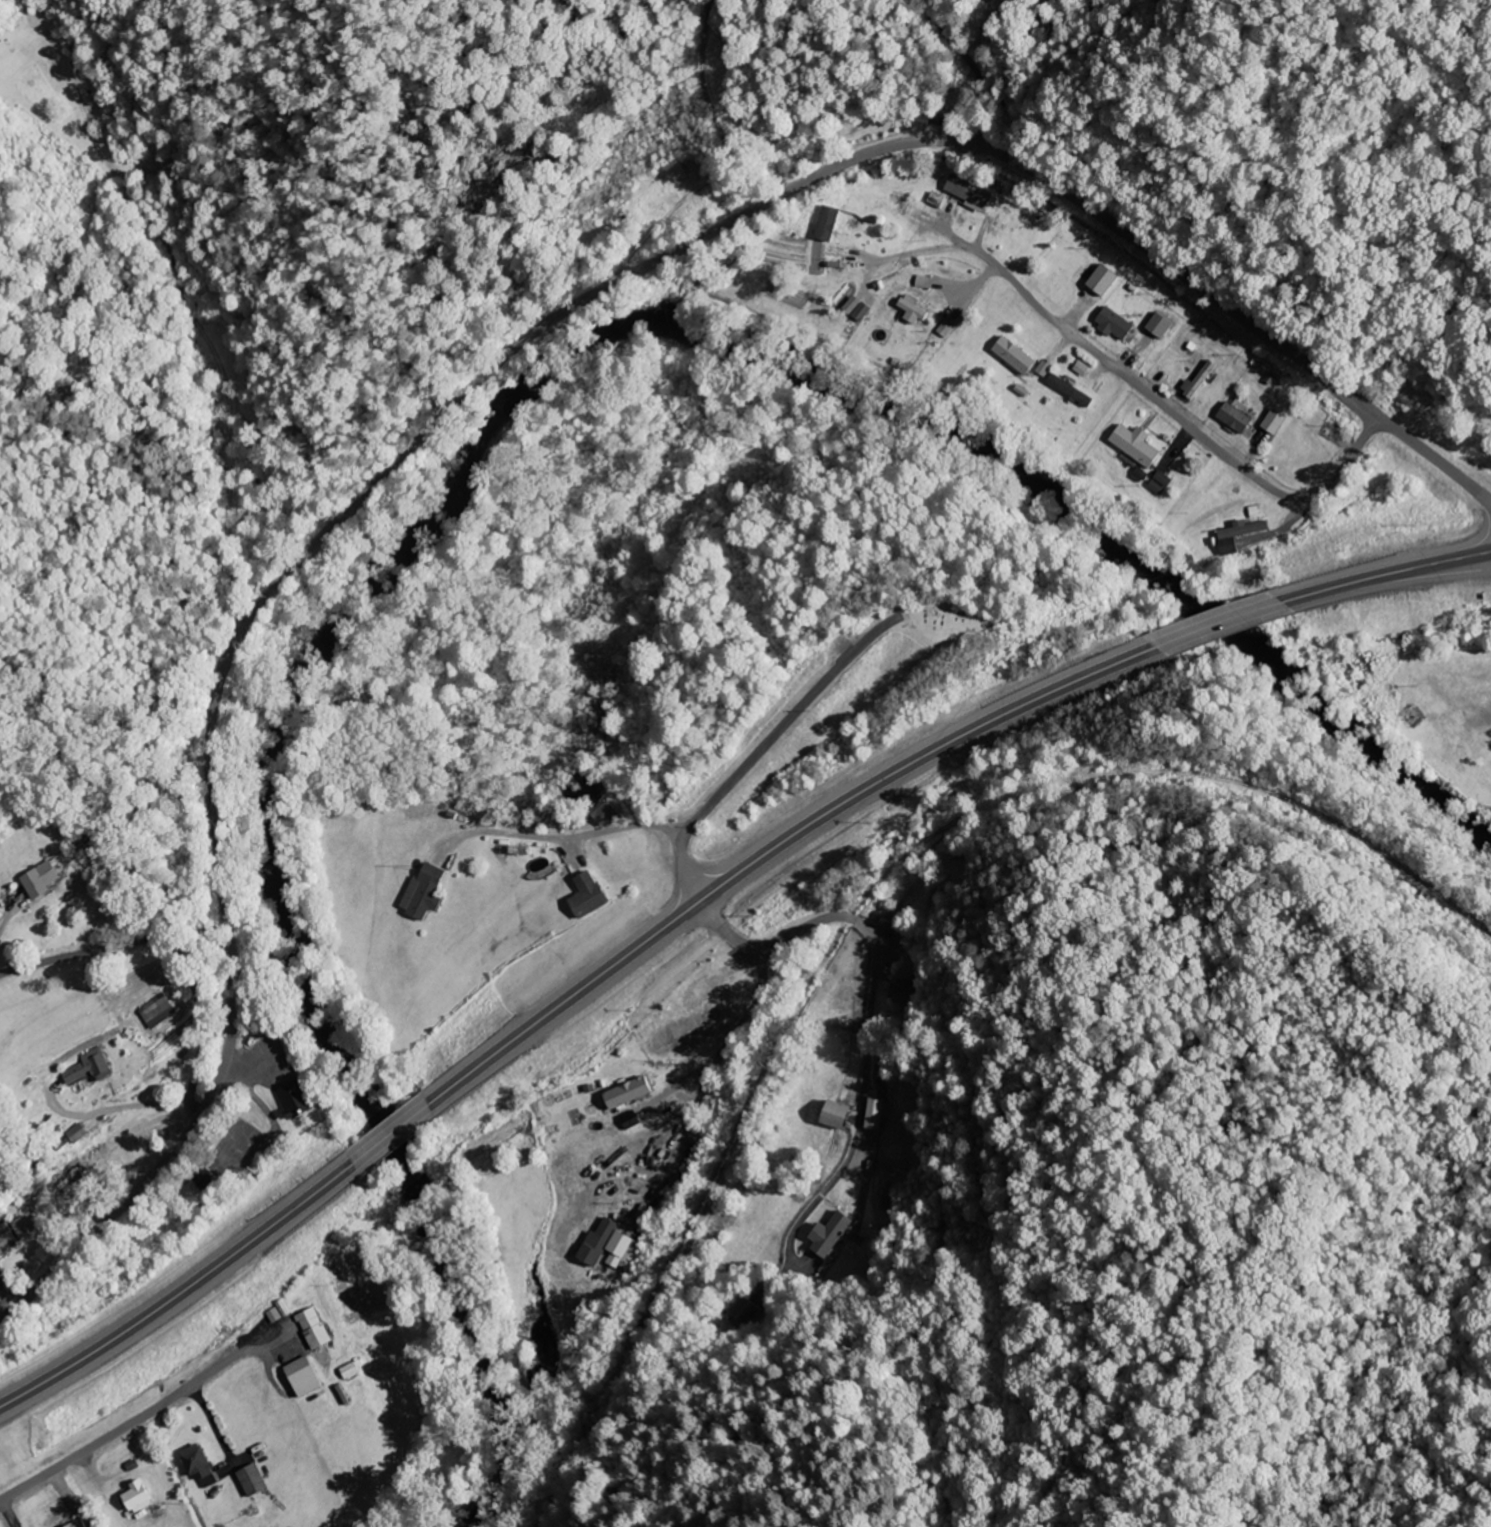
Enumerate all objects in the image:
road: (973, 68)
building: (966, 190)
building: (825, 222)
building: (912, 308)
building: (1113, 322)
building: (1157, 323)
building: (1014, 354)
road: (505, 374)
road: (1125, 377)
building: (1198, 377)
building: (1070, 389)
building: (1019, 396)
building: (1234, 416)
building: (1273, 419)
river: (476, 440)
building: (1135, 443)
road: (1336, 476)
building: (1239, 532)
road: (1384, 577)
road: (1214, 626)
road: (763, 746)
building: (606, 812)
road: (566, 834)
road: (772, 849)
building: (40, 879)
building: (425, 890)
building: (589, 893)
road: (181, 968)
building: (908, 989)
building: (701, 990)
building: (153, 1005)
road: (732, 1040)
building: (88, 1063)
building: (630, 1090)
building: (296, 1097)
building: (837, 1112)
building: (74, 1131)
road: (390, 1135)
building: (65, 1176)
building: (831, 1233)
building: (6, 1238)
building: (599, 1241)
road: (180, 1292)
building: (311, 1326)
building: (302, 1375)
road: (118, 1428)
building: (197, 1463)
building: (250, 1478)
building: (129, 1498)
building: (73, 1523)

